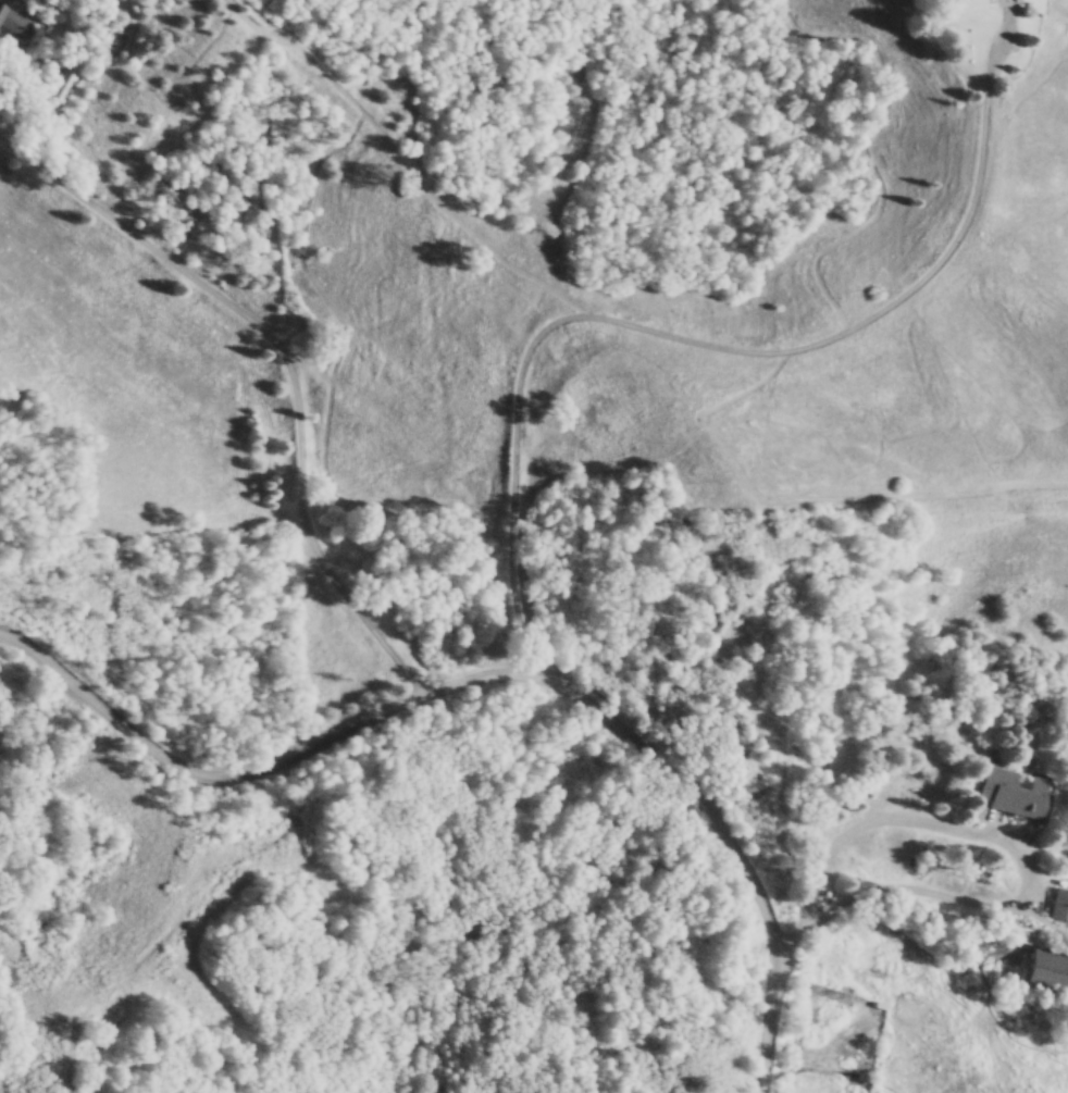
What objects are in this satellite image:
building: (15, 21)
road: (697, 343)
road: (196, 773)
road: (701, 788)
building: (998, 788)
park: (145, 823)
road: (1003, 843)
building: (1057, 904)
building: (1042, 969)

